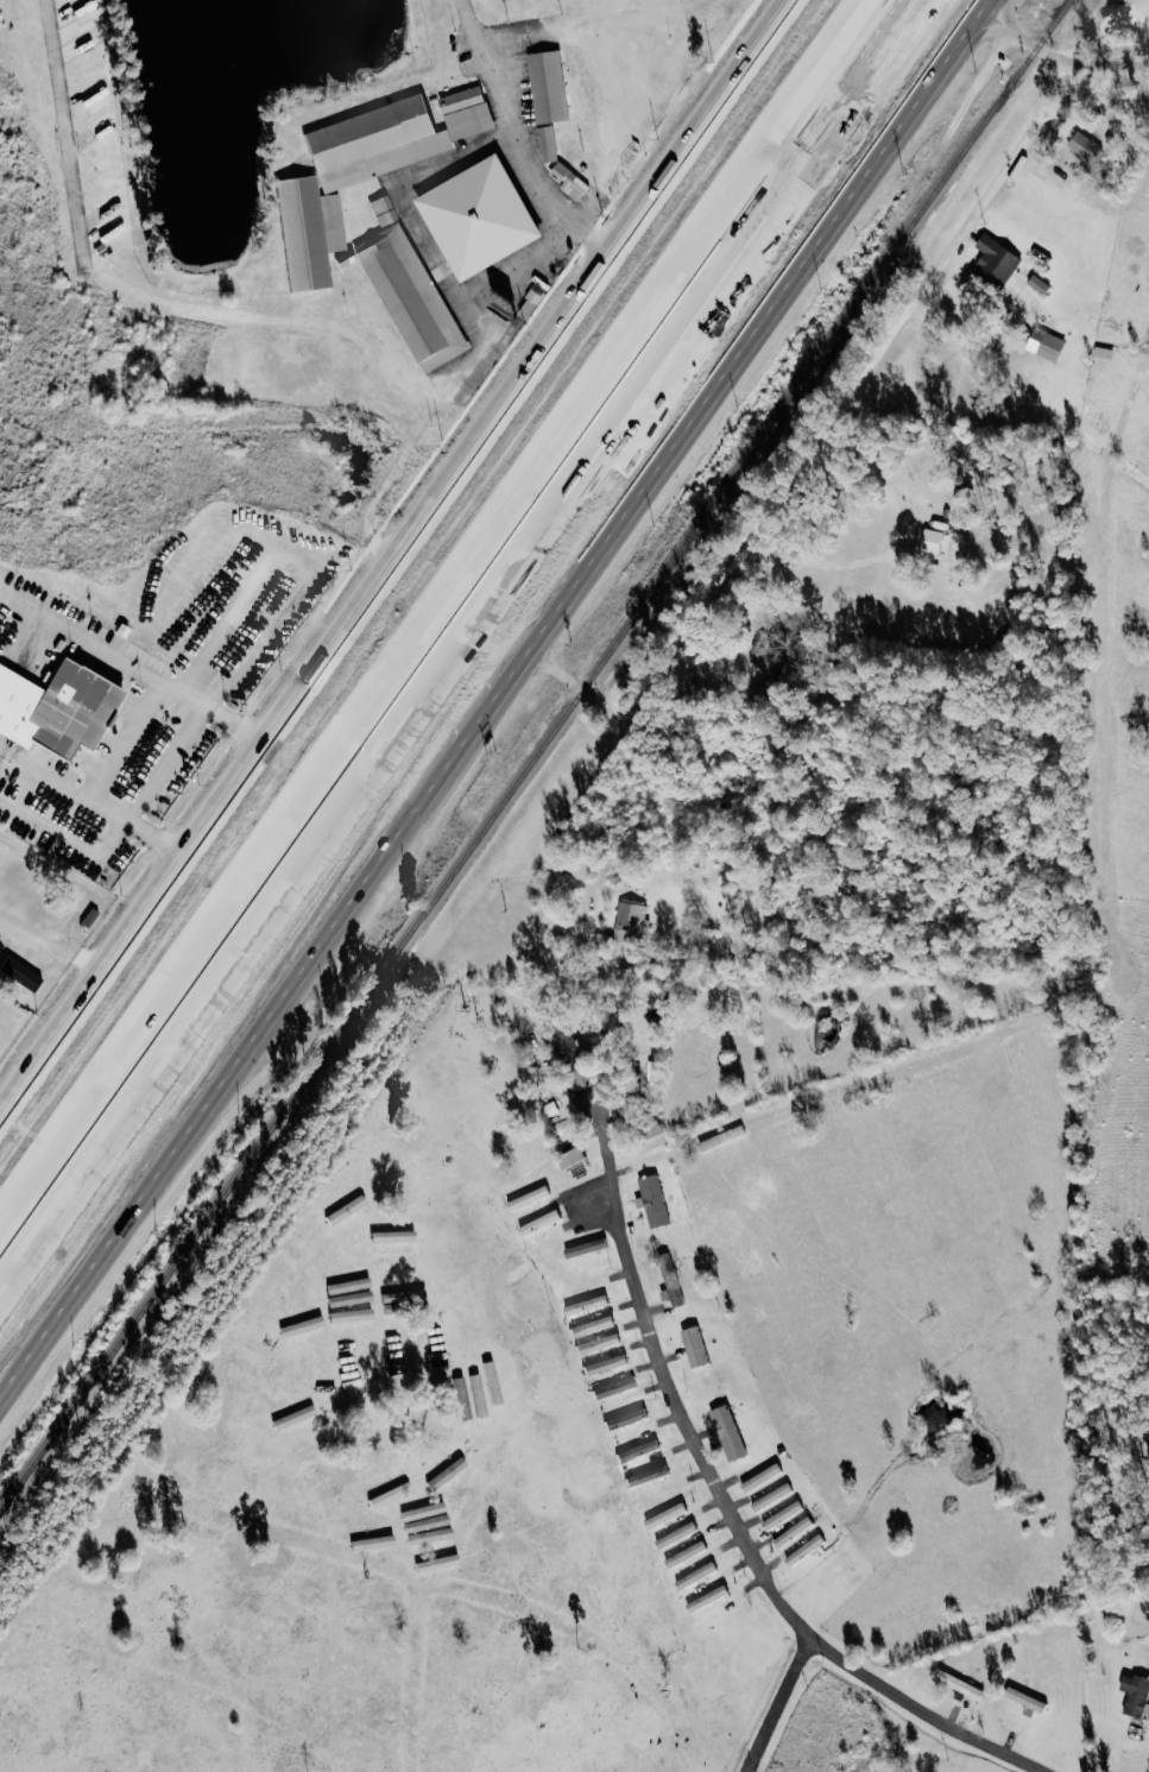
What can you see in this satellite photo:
road: (992, 8)
road: (1031, 44)
road: (1115, 65)
building: (550, 88)
building: (397, 135)
road: (78, 137)
road: (524, 140)
building: (1086, 146)
road: (681, 160)
building: (572, 182)
building: (482, 219)
building: (309, 234)
road: (774, 258)
building: (997, 260)
building: (1041, 285)
building: (413, 298)
road: (361, 332)
building: (1047, 345)
building: (1105, 353)
road: (819, 434)
road: (480, 442)
building: (936, 542)
road: (896, 548)
road: (134, 667)
building: (57, 710)
road: (491, 713)
road: (321, 724)
railway: (536, 756)
road: (171, 764)
road: (556, 816)
road: (198, 850)
road: (105, 853)
road: (102, 906)
road: (283, 906)
building: (633, 923)
road: (56, 940)
building: (36, 982)
road: (2, 1125)
building: (572, 1159)
building: (650, 1162)
road: (39, 1181)
building: (529, 1199)
building: (655, 1200)
building: (347, 1211)
building: (541, 1223)
building: (587, 1248)
building: (673, 1279)
building: (588, 1305)
building: (353, 1316)
building: (599, 1325)
building: (304, 1326)
building: (600, 1344)
building: (696, 1347)
building: (607, 1366)
building: (494, 1382)
building: (617, 1388)
building: (480, 1395)
building: (466, 1413)
building: (295, 1417)
building: (627, 1419)
building: (728, 1432)
building: (639, 1451)
building: (649, 1476)
building: (392, 1496)
road: (731, 1507)
building: (667, 1516)
building: (781, 1518)
building: (678, 1535)
building: (789, 1535)
building: (375, 1543)
building: (806, 1551)
building: (688, 1555)
building: (447, 1562)
building: (697, 1576)
building: (709, 1600)
building: (959, 1684)
building: (1136, 1695)
building: (1027, 1700)

